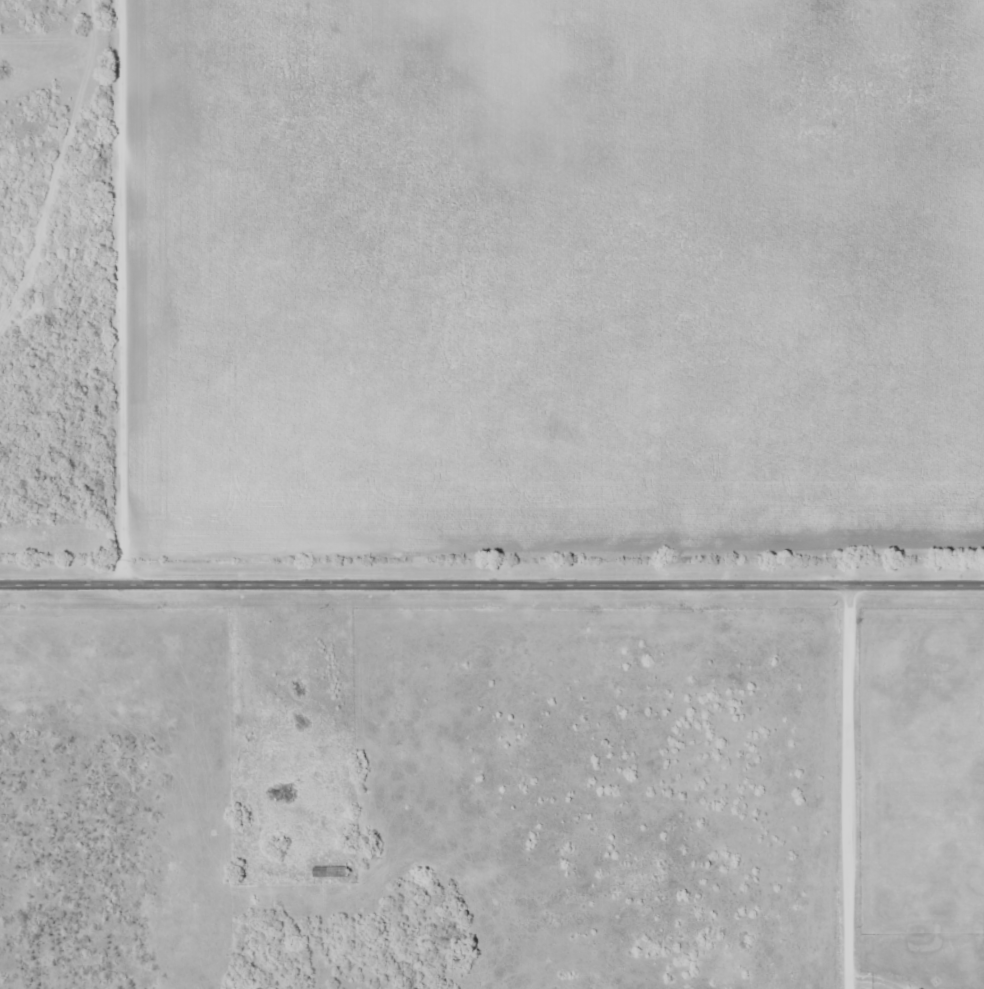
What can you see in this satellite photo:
road: (492, 584)
road: (847, 787)

